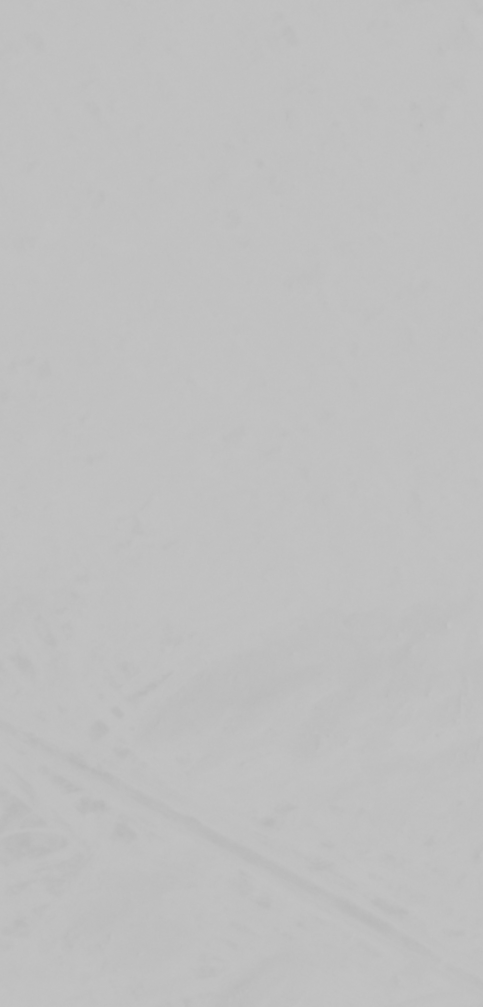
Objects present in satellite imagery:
building: (423, 50)
building: (40, 116)
building: (465, 200)
building: (362, 330)
building: (446, 434)

